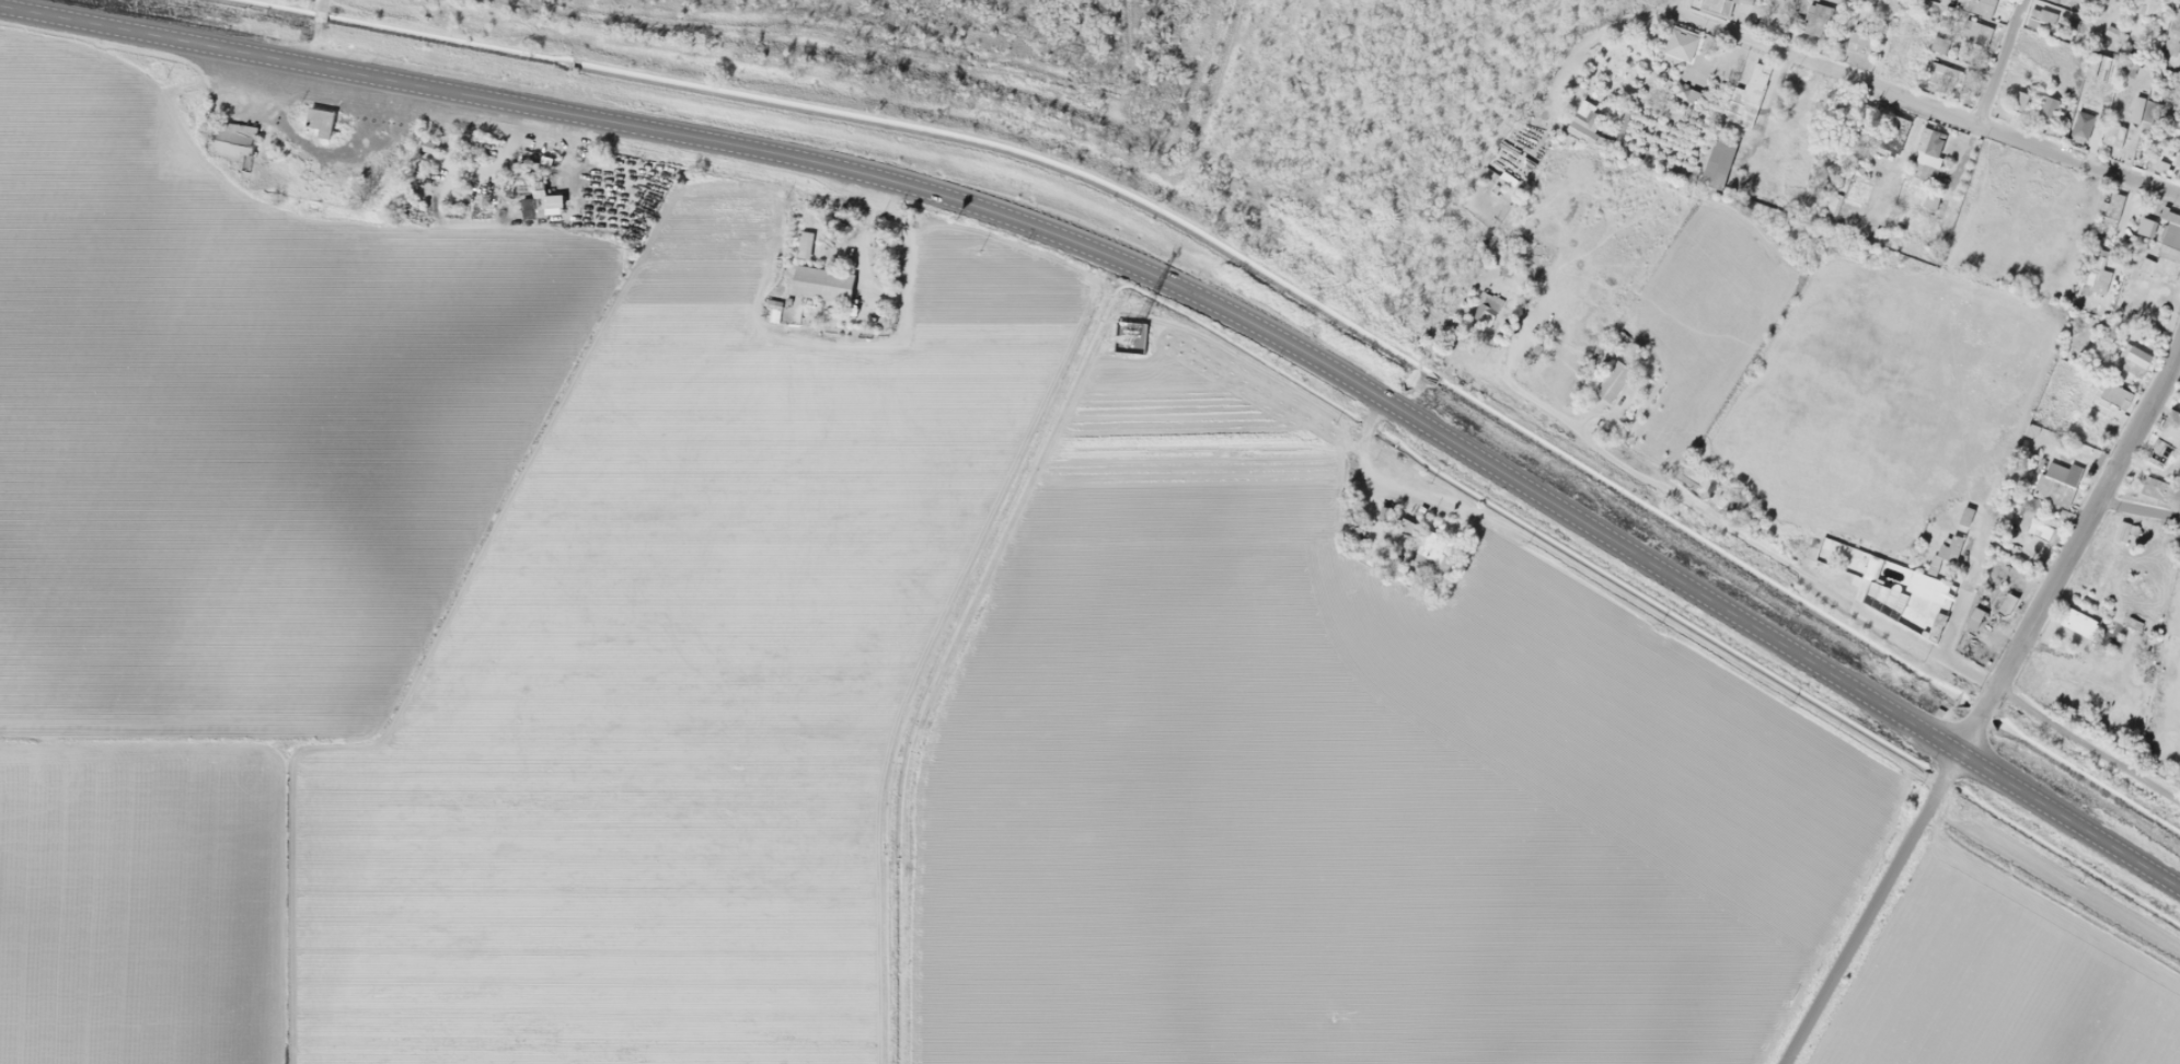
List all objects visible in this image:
road: (1677, 8)
road: (2000, 61)
road: (1930, 105)
road: (1156, 277)
road: (2137, 510)
road: (2069, 550)

